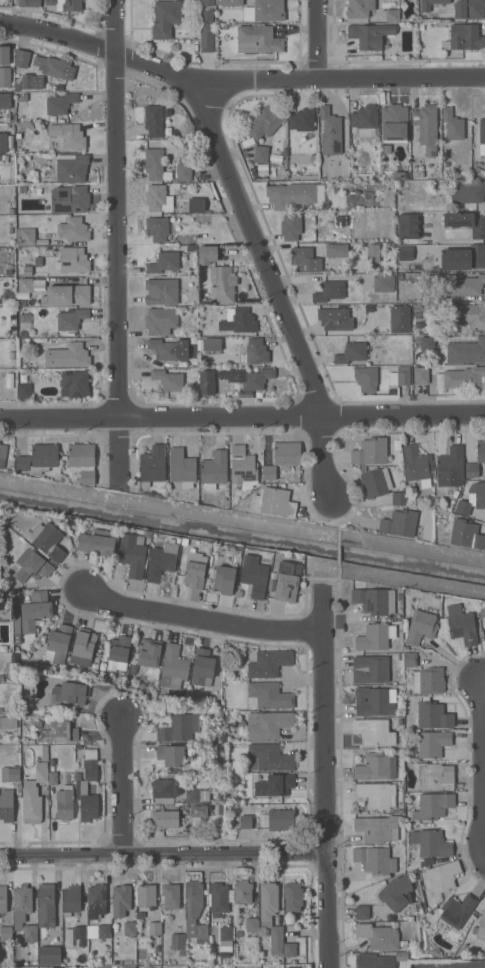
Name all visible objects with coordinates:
building: (27, 2)
building: (211, 2)
building: (229, 2)
building: (66, 4)
building: (425, 7)
building: (359, 8)
building: (468, 9)
building: (265, 10)
building: (392, 15)
building: (165, 18)
building: (421, 26)
building: (206, 31)
building: (369, 35)
building: (464, 37)
building: (257, 39)
road: (318, 40)
building: (4, 55)
building: (21, 58)
building: (51, 66)
building: (5, 77)
building: (32, 81)
road: (237, 82)
building: (18, 87)
building: (5, 100)
building: (60, 103)
building: (22, 116)
building: (153, 120)
building: (302, 120)
building: (365, 120)
building: (265, 122)
building: (394, 123)
building: (452, 124)
building: (426, 128)
building: (330, 131)
building: (69, 135)
building: (482, 137)
building: (3, 142)
building: (18, 142)
building: (285, 151)
building: (261, 153)
building: (4, 157)
building: (186, 157)
building: (313, 158)
building: (154, 163)
building: (71, 167)
building: (184, 172)
building: (395, 174)
building: (176, 185)
building: (22, 188)
building: (7, 191)
building: (468, 191)
building: (291, 194)
building: (155, 197)
building: (70, 199)
building: (197, 205)
road: (120, 209)
building: (11, 210)
building: (340, 218)
building: (11, 219)
building: (467, 222)
building: (356, 223)
building: (371, 223)
building: (385, 223)
building: (292, 226)
building: (408, 226)
building: (158, 228)
building: (74, 229)
building: (25, 236)
building: (391, 245)
building: (190, 247)
building: (335, 249)
road: (262, 250)
building: (373, 252)
building: (206, 253)
building: (406, 253)
building: (463, 258)
building: (305, 259)
building: (73, 260)
building: (164, 262)
building: (27, 270)
building: (9, 272)
building: (384, 282)
building: (223, 284)
building: (463, 284)
building: (26, 285)
building: (161, 291)
building: (330, 291)
building: (66, 294)
building: (11, 302)
building: (22, 303)
building: (417, 308)
building: (417, 315)
building: (467, 316)
building: (71, 318)
building: (335, 318)
building: (400, 319)
building: (161, 320)
building: (25, 321)
building: (239, 321)
building: (423, 324)
building: (24, 334)
building: (212, 344)
building: (165, 349)
building: (476, 350)
building: (256, 351)
building: (351, 353)
building: (12, 355)
building: (67, 356)
building: (403, 375)
building: (421, 375)
building: (366, 378)
building: (392, 378)
building: (462, 378)
building: (9, 379)
building: (168, 379)
building: (383, 379)
building: (206, 381)
building: (255, 381)
building: (74, 383)
building: (24, 390)
road: (242, 419)
building: (3, 451)
building: (370, 451)
road: (122, 452)
building: (282, 457)
building: (39, 459)
road: (321, 459)
building: (477, 460)
building: (82, 461)
building: (417, 464)
building: (152, 465)
building: (243, 465)
building: (182, 467)
building: (451, 467)
building: (214, 469)
building: (466, 470)
building: (376, 482)
building: (399, 498)
building: (472, 499)
building: (274, 502)
building: (0, 510)
road: (242, 520)
building: (399, 523)
building: (148, 534)
building: (466, 534)
river: (242, 537)
building: (48, 541)
building: (97, 542)
building: (184, 545)
building: (238, 553)
building: (132, 554)
building: (162, 560)
building: (32, 565)
building: (195, 568)
building: (254, 575)
building: (273, 575)
building: (224, 579)
building: (287, 581)
building: (399, 597)
building: (375, 600)
building: (16, 606)
building: (483, 610)
building: (35, 611)
road: (204, 618)
building: (461, 624)
building: (421, 627)
building: (9, 631)
building: (16, 632)
building: (375, 636)
building: (42, 638)
building: (58, 643)
building: (83, 647)
building: (9, 648)
building: (149, 652)
building: (119, 653)
building: (410, 659)
building: (95, 661)
building: (270, 663)
building: (173, 667)
building: (203, 667)
building: (370, 669)
building: (1, 677)
building: (429, 681)
building: (69, 693)
building: (268, 696)
building: (374, 701)
building: (30, 711)
building: (22, 714)
building: (430, 715)
building: (8, 722)
building: (232, 723)
building: (38, 724)
building: (269, 724)
building: (179, 728)
building: (57, 731)
building: (374, 731)
building: (29, 742)
building: (433, 743)
building: (171, 755)
building: (269, 757)
building: (52, 760)
building: (376, 767)
building: (14, 773)
building: (434, 775)
building: (52, 778)
road: (327, 781)
building: (274, 785)
building: (82, 787)
road: (125, 787)
building: (165, 788)
building: (377, 794)
building: (34, 795)
building: (197, 795)
building: (65, 803)
building: (432, 806)
building: (6, 808)
building: (200, 811)
building: (166, 819)
building: (278, 820)
building: (246, 821)
building: (377, 828)
building: (184, 830)
building: (430, 842)
road: (164, 857)
building: (375, 859)
building: (420, 864)
building: (441, 876)
building: (243, 892)
building: (396, 892)
building: (171, 895)
building: (146, 896)
building: (219, 897)
building: (293, 897)
building: (194, 898)
building: (3, 899)
building: (121, 899)
building: (71, 900)
building: (97, 901)
building: (22, 902)
building: (47, 905)
building: (458, 910)
building: (362, 912)
building: (270, 917)
building: (411, 918)
building: (252, 924)
building: (130, 927)
building: (480, 927)
building: (155, 928)
building: (202, 930)
building: (92, 931)
building: (80, 932)
building: (104, 932)
building: (30, 933)
building: (6, 934)
building: (378, 936)
building: (226, 938)
building: (177, 941)
building: (403, 943)
building: (290, 949)
building: (435, 952)
building: (181, 953)
building: (50, 955)
building: (401, 956)
building: (374, 961)
building: (129, 967)
building: (293, 967)

